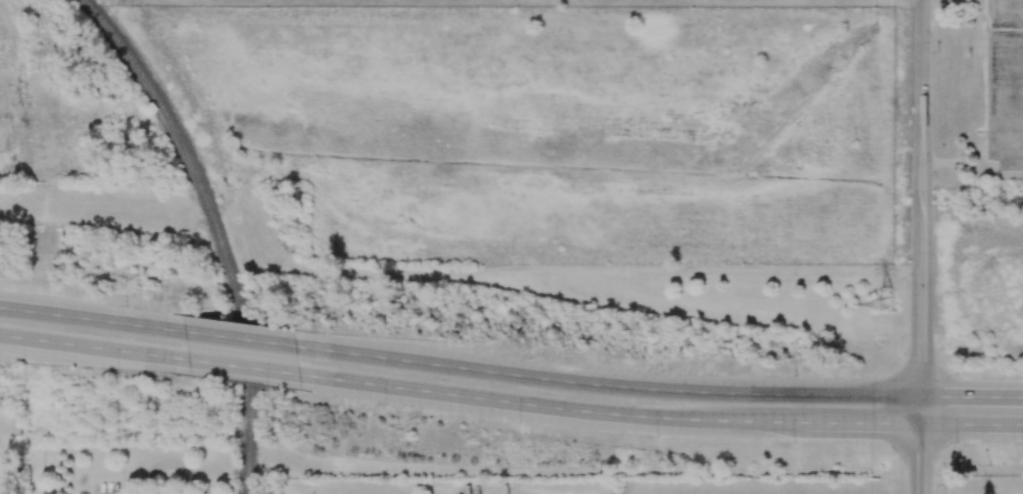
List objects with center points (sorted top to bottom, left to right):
road: (1015, 28)
street lamp: (933, 41)
road: (1015, 70)
parking lot: (1004, 83)
road: (1007, 83)
road: (1015, 111)
road: (922, 118)
street lamp: (935, 176)
railway: (216, 229)
street lamp: (904, 288)
power tower: (887, 303)
street lamp: (126, 304)
road: (922, 316)
road: (92, 321)
street lamp: (394, 336)
road: (239, 339)
road: (94, 346)
street lamp: (528, 358)
road: (243, 365)
street lamp: (660, 371)
street lamp: (118, 372)
street lamp: (955, 373)
street lamp: (795, 374)
street lamp: (1022, 375)
road: (607, 386)
road: (972, 396)
road: (510, 401)
street lamp: (385, 403)
road: (921, 409)
road: (760, 420)
street lamp: (520, 421)
road: (859, 421)
road: (972, 423)
street lamp: (657, 435)
street lamp: (794, 442)
street lamp: (1022, 442)
street lamp: (956, 443)
park: (10, 451)
road: (920, 458)

